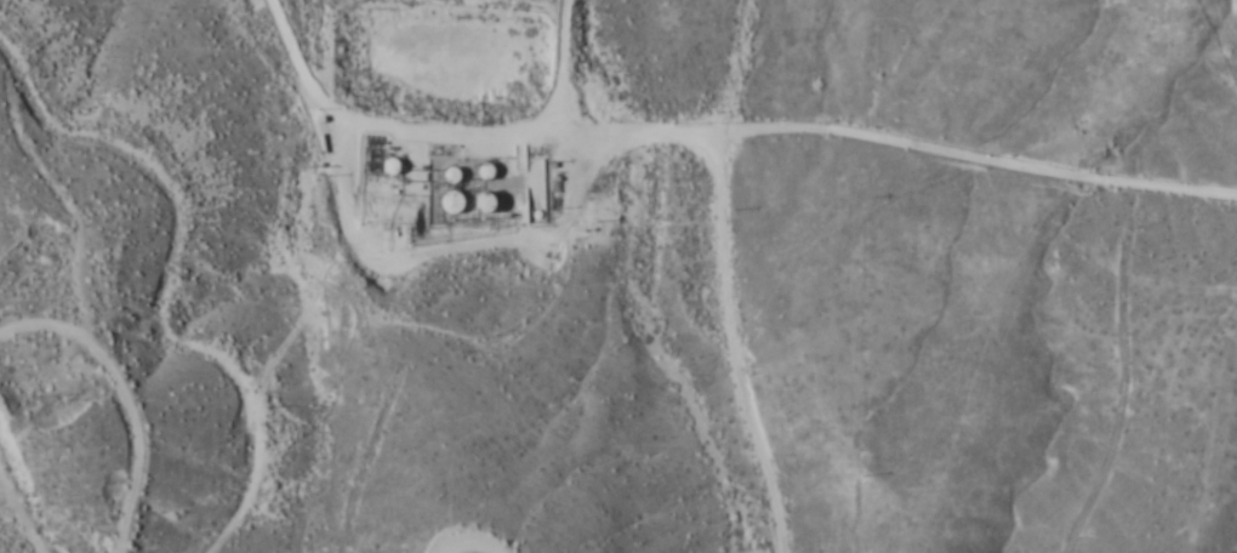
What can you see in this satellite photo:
road: (905, 108)
building: (387, 167)
building: (484, 171)
building: (450, 177)
building: (451, 203)
building: (486, 203)

